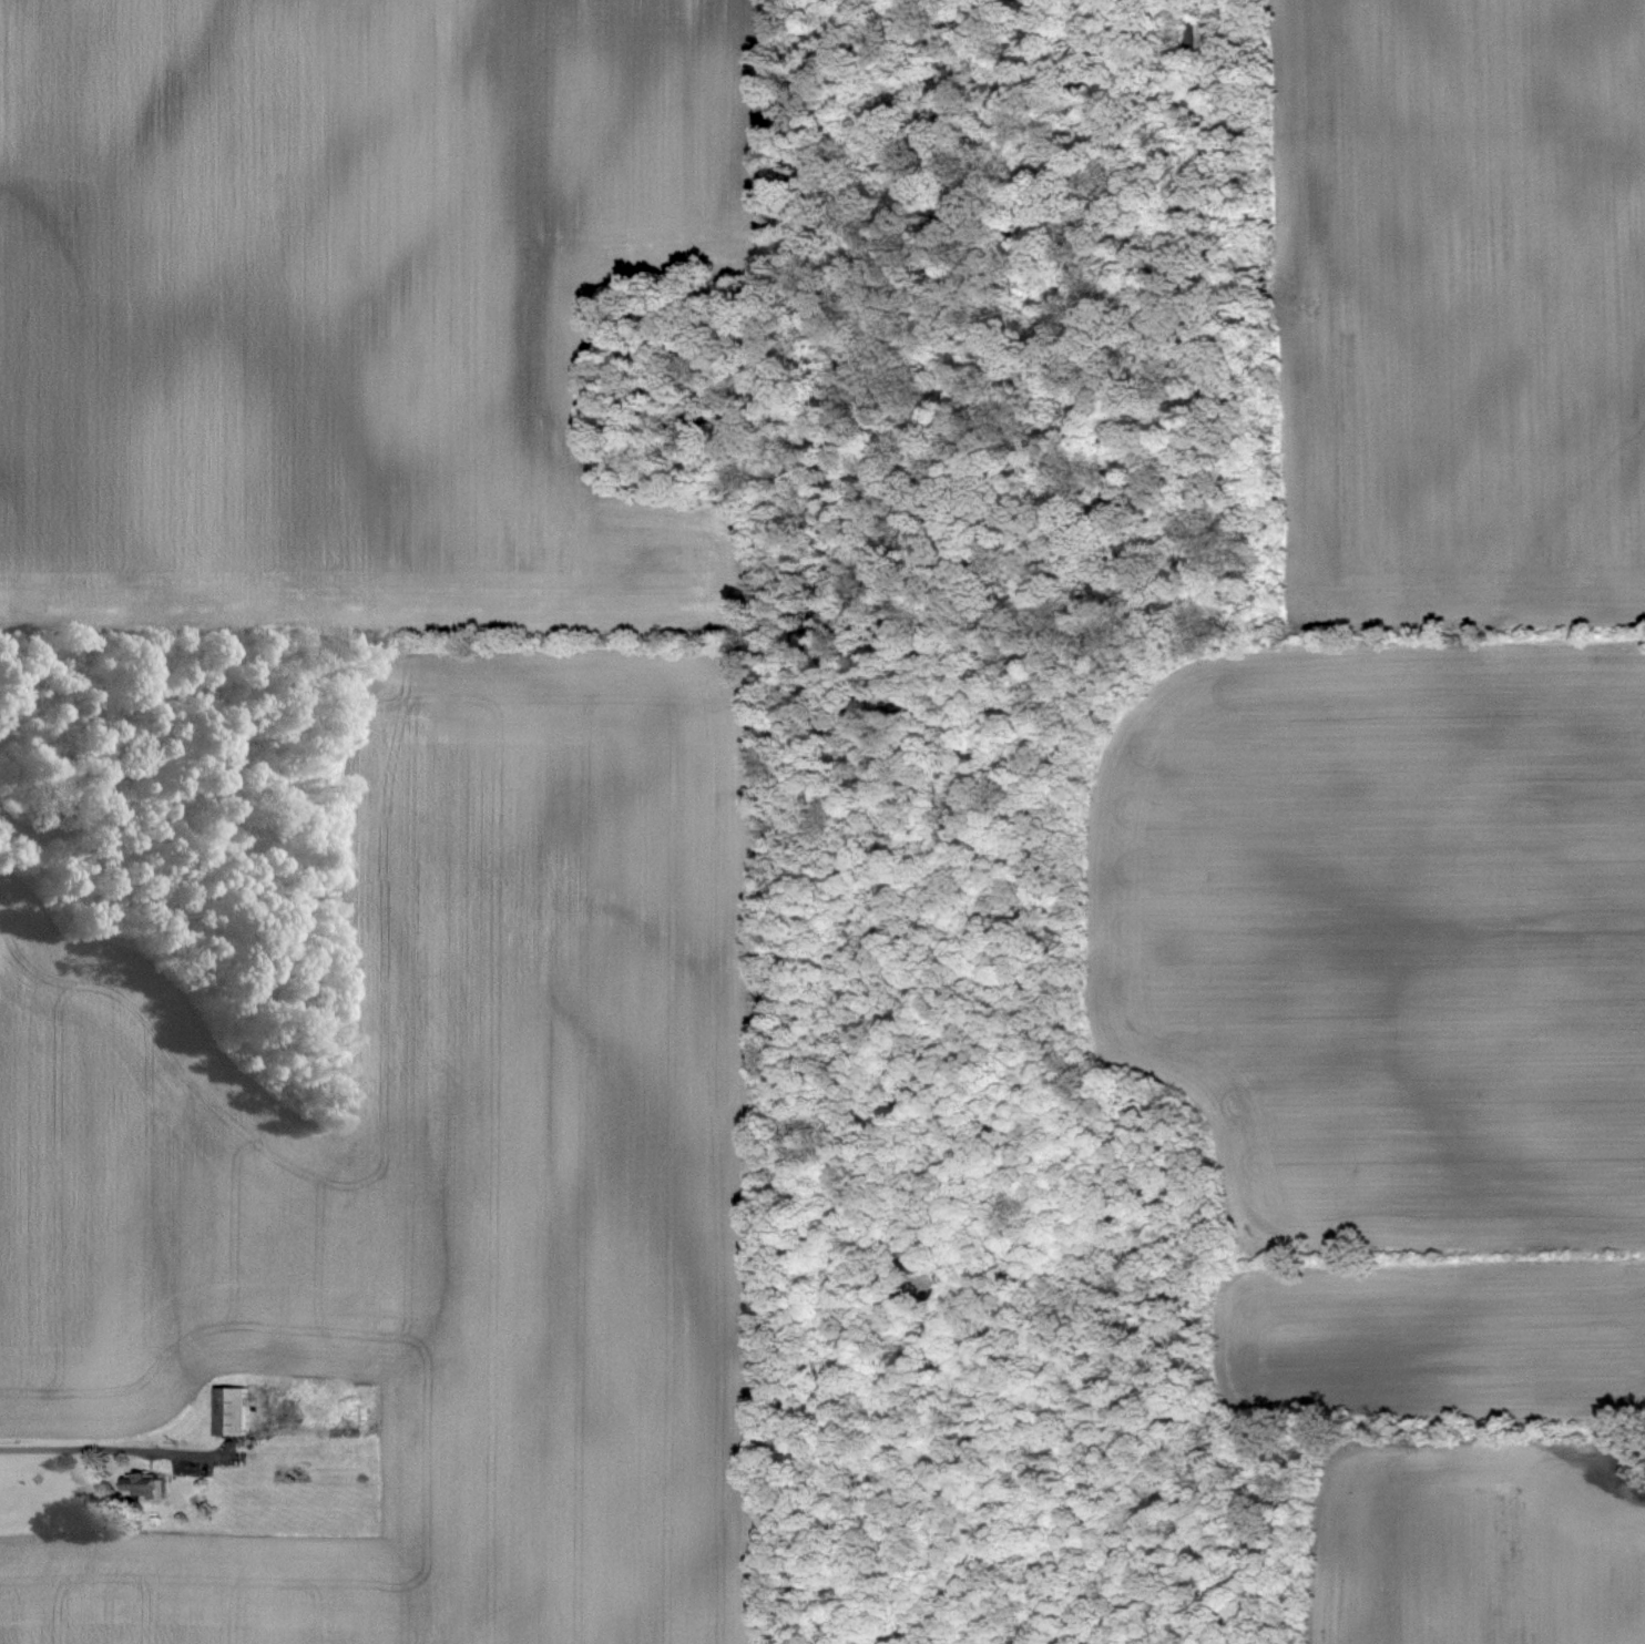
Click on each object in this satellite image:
road: (1435, 116)
building: (235, 1410)
road: (114, 1450)

